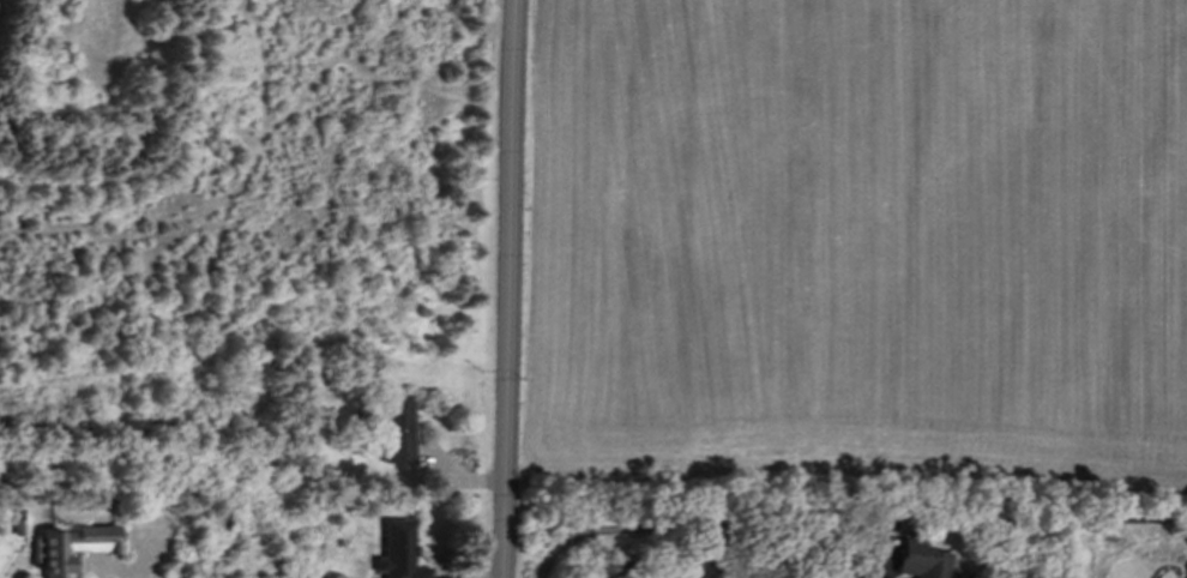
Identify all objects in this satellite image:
crop: (855, 243)
road: (508, 289)
building: (398, 429)
road: (1107, 522)
road: (668, 528)
park: (1117, 530)
building: (70, 549)
building: (397, 552)
building: (922, 560)
road: (869, 562)
road: (108, 568)

